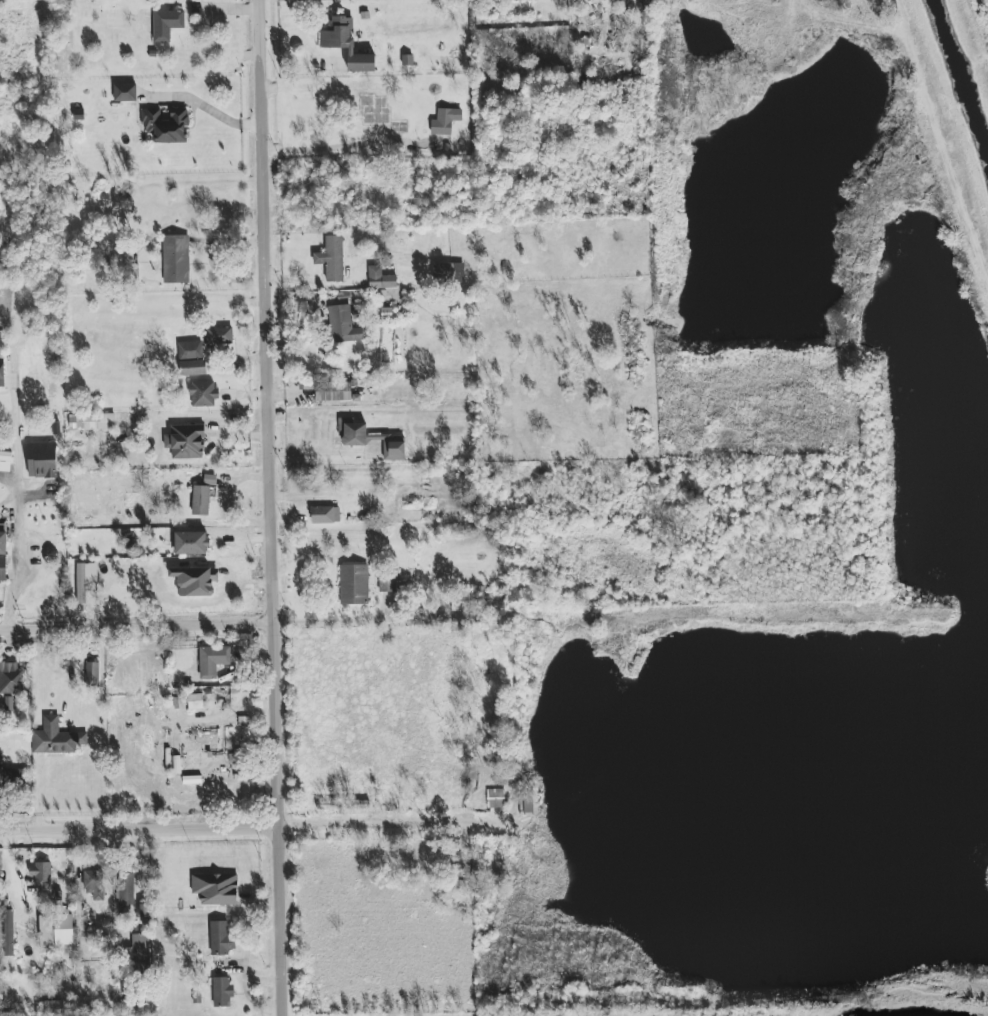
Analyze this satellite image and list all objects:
building: (166, 24)
building: (346, 44)
building: (125, 92)
road: (216, 111)
building: (445, 121)
building: (166, 125)
road: (343, 146)
building: (332, 258)
building: (175, 259)
building: (449, 272)
building: (380, 278)
building: (343, 325)
road: (9, 334)
building: (221, 335)
building: (190, 350)
building: (192, 368)
building: (2, 372)
building: (332, 391)
building: (203, 394)
building: (92, 421)
building: (352, 433)
building: (186, 442)
building: (391, 446)
building: (42, 460)
building: (5, 461)
building: (210, 479)
building: (200, 500)
road: (17, 505)
road: (271, 508)
building: (325, 515)
building: (191, 543)
building: (3, 558)
building: (195, 581)
building: (387, 582)
building: (81, 583)
building: (354, 585)
building: (465, 602)
road: (321, 622)
road: (136, 626)
building: (212, 661)
building: (92, 673)
building: (10, 678)
building: (8, 705)
building: (56, 738)
building: (200, 743)
building: (6, 773)
building: (495, 798)
building: (528, 803)
road: (333, 826)
building: (41, 874)
building: (94, 884)
building: (216, 889)
building: (125, 893)
building: (55, 931)
building: (6, 933)
building: (219, 938)
building: (141, 953)
building: (222, 992)

